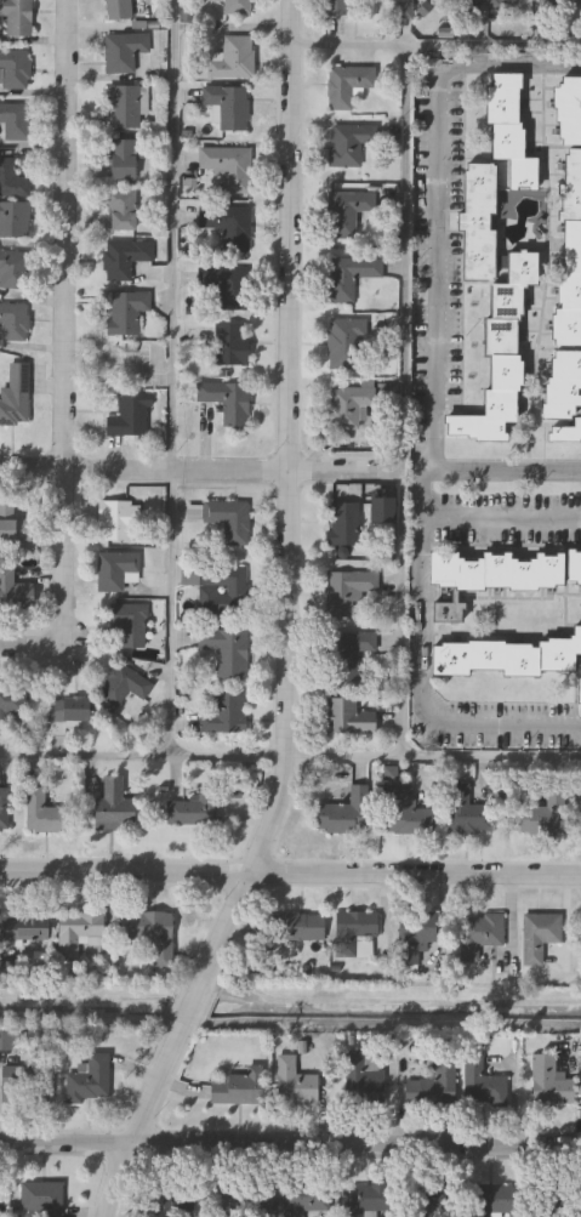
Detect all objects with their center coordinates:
building: (559, 0)
building: (492, 4)
building: (235, 7)
building: (341, 8)
building: (403, 10)
building: (118, 11)
building: (16, 18)
road: (434, 47)
building: (124, 53)
building: (233, 61)
road: (509, 69)
building: (15, 73)
building: (348, 86)
building: (228, 108)
building: (125, 109)
building: (566, 114)
building: (13, 124)
building: (511, 130)
building: (348, 147)
building: (123, 161)
building: (228, 170)
building: (11, 183)
building: (121, 212)
building: (348, 215)
building: (13, 223)
building: (227, 228)
building: (570, 258)
building: (124, 261)
road: (437, 271)
building: (12, 272)
building: (348, 278)
building: (227, 289)
building: (494, 308)
building: (126, 314)
road: (58, 320)
building: (13, 324)
building: (347, 346)
building: (230, 347)
road: (170, 379)
building: (564, 396)
road: (405, 402)
building: (227, 403)
building: (15, 405)
building: (348, 408)
building: (127, 419)
road: (507, 472)
road: (201, 476)
building: (190, 516)
road: (501, 518)
building: (18, 521)
building: (228, 523)
building: (114, 525)
building: (344, 525)
building: (378, 528)
building: (574, 568)
building: (114, 574)
building: (495, 574)
road: (421, 591)
building: (348, 592)
building: (222, 593)
building: (13, 595)
building: (446, 615)
road: (287, 626)
building: (127, 630)
road: (28, 647)
building: (227, 654)
building: (506, 656)
building: (347, 658)
building: (123, 688)
building: (579, 690)
building: (10, 707)
building: (222, 715)
building: (65, 716)
building: (348, 720)
road: (505, 729)
road: (290, 758)
building: (113, 808)
building: (192, 811)
building: (4, 812)
building: (45, 814)
building: (344, 815)
building: (406, 815)
building: (472, 815)
building: (545, 818)
road: (290, 875)
building: (355, 927)
building: (292, 928)
building: (78, 933)
building: (24, 934)
building: (150, 937)
building: (479, 937)
building: (414, 938)
building: (539, 938)
building: (361, 954)
building: (364, 1080)
building: (89, 1082)
building: (292, 1085)
building: (549, 1085)
building: (24, 1086)
building: (482, 1086)
building: (433, 1088)
building: (237, 1090)
road: (290, 1147)
building: (40, 1199)
building: (245, 1200)
building: (370, 1200)
building: (306, 1201)
building: (431, 1201)
building: (492, 1201)
building: (558, 1202)
building: (170, 1204)

